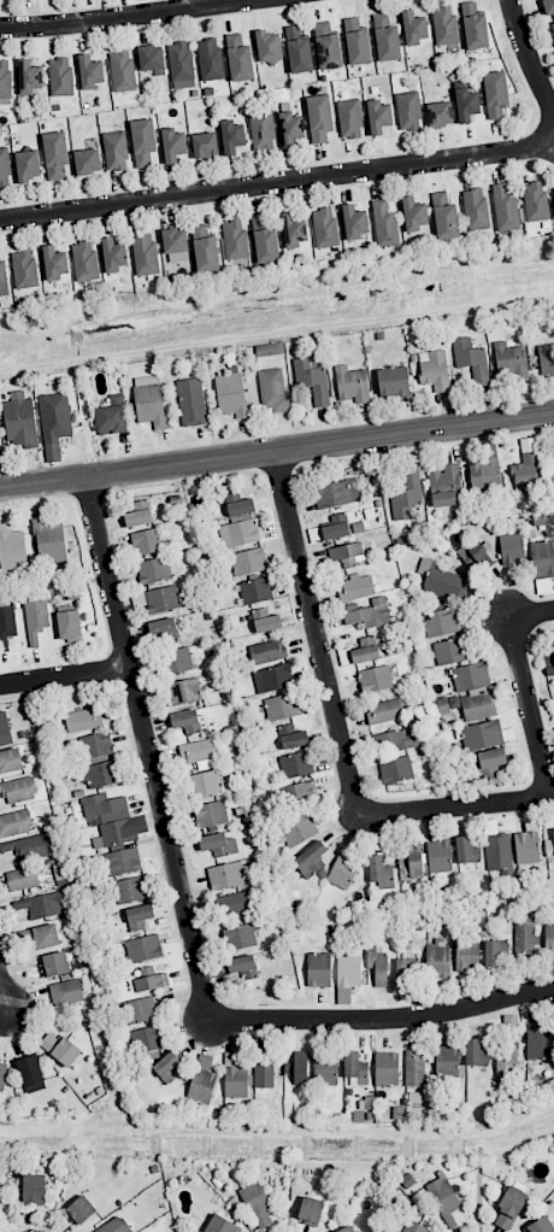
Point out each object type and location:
building: (549, 6)
road: (134, 18)
building: (444, 25)
building: (473, 27)
building: (552, 27)
building: (413, 28)
building: (385, 39)
building: (356, 42)
building: (269, 46)
building: (326, 46)
building: (297, 51)
road: (529, 57)
building: (151, 58)
building: (238, 58)
building: (210, 59)
building: (181, 65)
building: (122, 70)
building: (90, 71)
building: (29, 76)
building: (60, 76)
building: (5, 80)
building: (495, 93)
building: (466, 104)
building: (408, 111)
building: (440, 113)
building: (378, 117)
building: (319, 118)
building: (349, 118)
building: (291, 129)
building: (263, 130)
building: (232, 136)
building: (142, 142)
building: (173, 145)
building: (205, 145)
building: (114, 151)
building: (54, 153)
building: (87, 162)
building: (26, 165)
building: (4, 166)
road: (277, 184)
building: (535, 201)
building: (476, 209)
building: (505, 211)
building: (414, 215)
building: (444, 216)
building: (355, 222)
building: (385, 224)
building: (324, 228)
building: (294, 230)
building: (235, 239)
building: (265, 240)
building: (175, 245)
building: (205, 250)
building: (145, 253)
building: (113, 254)
building: (84, 260)
building: (54, 263)
building: (24, 269)
building: (2, 276)
building: (270, 348)
building: (472, 359)
building: (547, 359)
building: (512, 360)
building: (435, 370)
building: (312, 381)
building: (393, 381)
building: (352, 385)
building: (272, 391)
building: (231, 394)
building: (149, 400)
building: (191, 401)
building: (112, 416)
building: (19, 421)
building: (54, 423)
road: (277, 450)
building: (526, 465)
building: (484, 475)
building: (553, 483)
building: (446, 486)
building: (336, 493)
building: (406, 494)
building: (238, 504)
building: (138, 514)
building: (335, 530)
building: (238, 532)
building: (148, 540)
building: (49, 541)
building: (12, 548)
building: (512, 548)
building: (473, 553)
building: (344, 555)
building: (543, 559)
building: (248, 561)
building: (154, 570)
building: (442, 581)
building: (356, 587)
building: (255, 589)
building: (163, 598)
building: (367, 612)
road: (531, 612)
building: (36, 618)
building: (266, 620)
building: (440, 622)
building: (69, 624)
building: (6, 626)
building: (163, 628)
road: (317, 633)
building: (366, 650)
building: (267, 651)
building: (450, 651)
building: (344, 656)
building: (177, 661)
building: (549, 663)
road: (64, 667)
building: (471, 676)
building: (272, 677)
building: (375, 679)
building: (183, 691)
building: (477, 704)
building: (282, 706)
road: (530, 708)
building: (384, 710)
building: (83, 720)
building: (185, 721)
building: (5, 729)
building: (483, 734)
building: (293, 737)
building: (395, 740)
building: (95, 745)
road: (147, 749)
building: (200, 753)
building: (493, 757)
building: (10, 761)
building: (295, 764)
building: (395, 769)
building: (102, 774)
building: (204, 784)
building: (18, 790)
building: (296, 792)
road: (456, 806)
building: (104, 808)
building: (211, 814)
building: (16, 822)
building: (299, 829)
building: (122, 844)
building: (218, 844)
building: (28, 846)
building: (526, 846)
building: (549, 846)
building: (466, 850)
building: (497, 852)
building: (438, 856)
building: (311, 858)
building: (343, 870)
building: (381, 872)
building: (228, 875)
building: (22, 878)
building: (129, 890)
building: (234, 903)
building: (42, 904)
building: (138, 916)
building: (525, 935)
building: (40, 937)
building: (240, 937)
building: (549, 938)
building: (143, 948)
building: (495, 952)
building: (467, 955)
building: (437, 958)
building: (54, 963)
building: (377, 964)
building: (243, 966)
building: (318, 969)
building: (406, 970)
building: (348, 972)
building: (151, 981)
building: (66, 992)
road: (1, 996)
building: (343, 996)
building: (140, 1010)
road: (383, 1021)
building: (538, 1042)
building: (507, 1045)
building: (59, 1048)
building: (476, 1054)
building: (447, 1061)
building: (167, 1067)
building: (297, 1068)
building: (325, 1068)
building: (355, 1068)
building: (387, 1068)
building: (414, 1068)
building: (263, 1069)
building: (29, 1070)
building: (2, 1073)
building: (235, 1076)
building: (201, 1084)
building: (34, 1189)
building: (443, 1196)
building: (257, 1203)
building: (509, 1207)
building: (79, 1210)
building: (311, 1210)
building: (114, 1225)
building: (222, 1225)
building: (414, 1227)
building: (346, 1228)

